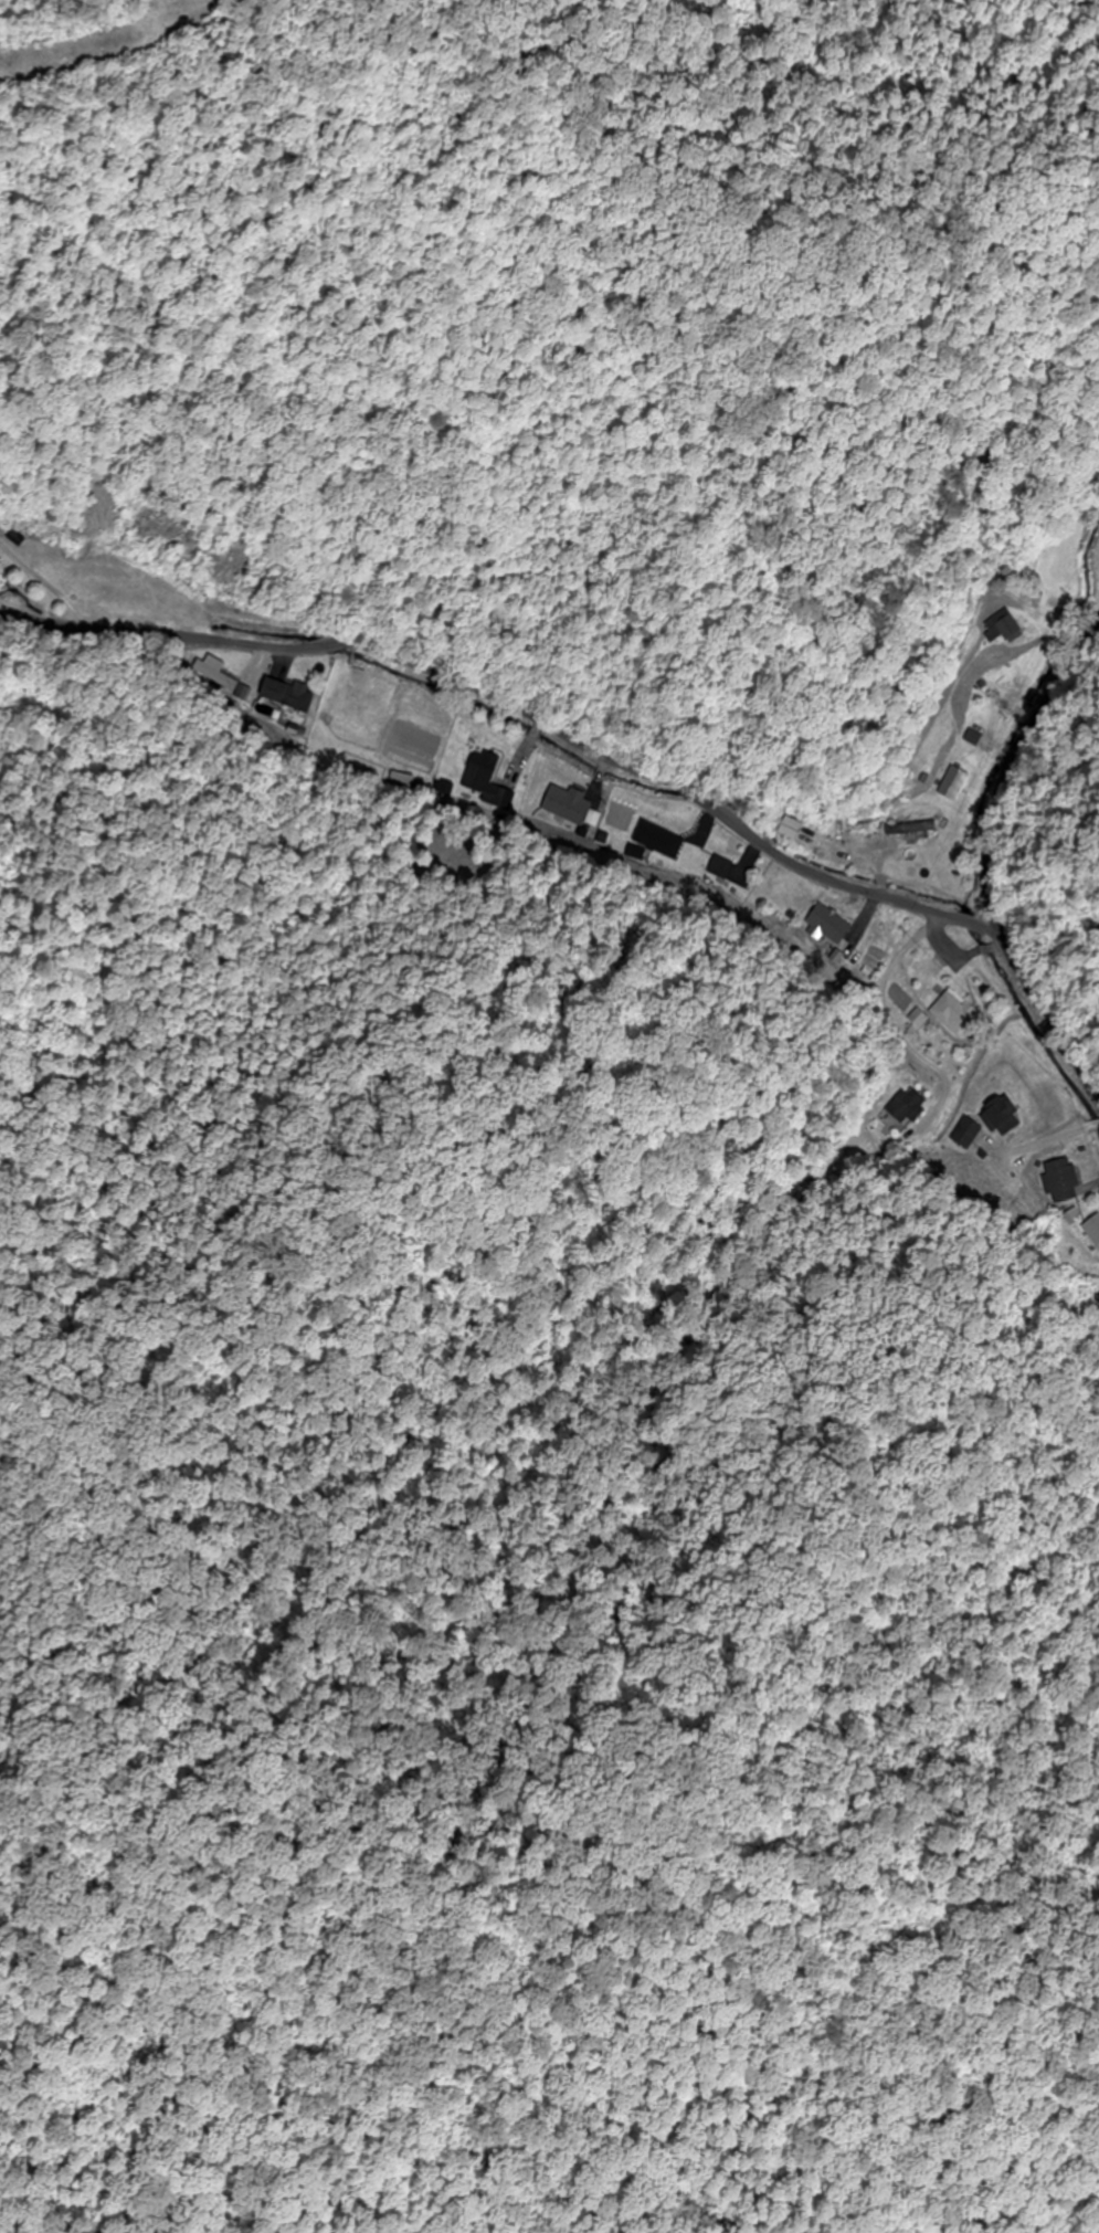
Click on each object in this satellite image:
building: (1002, 630)
building: (290, 696)
road: (517, 735)
building: (479, 770)
building: (951, 784)
building: (570, 805)
building: (908, 829)
road: (992, 853)
building: (950, 1012)
building: (903, 1107)

